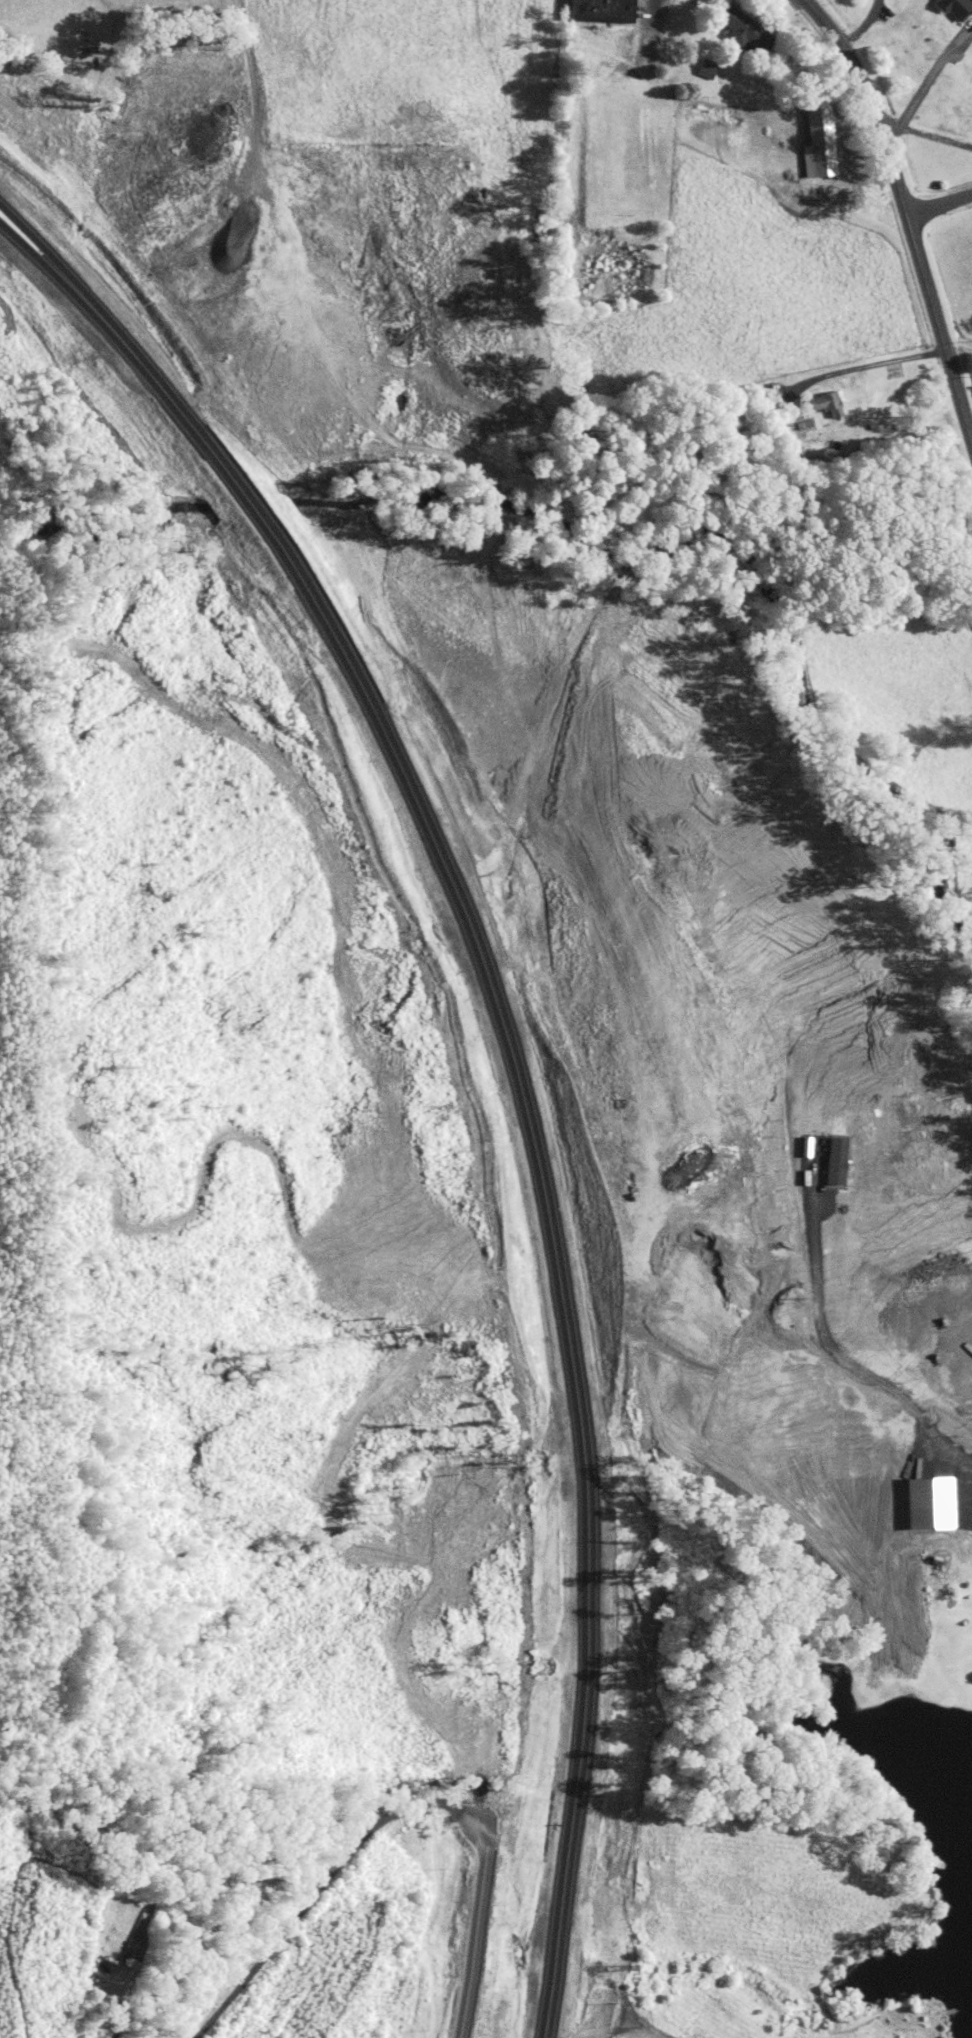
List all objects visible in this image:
building: (953, 8)
building: (613, 9)
road: (926, 83)
building: (816, 142)
road: (939, 205)
road: (905, 212)
road: (31, 234)
road: (27, 247)
road: (867, 366)
building: (825, 402)
road: (968, 416)
road: (525, 1091)
building: (924, 1503)
road: (320, 1885)
road: (474, 1929)
road: (118, 2019)

